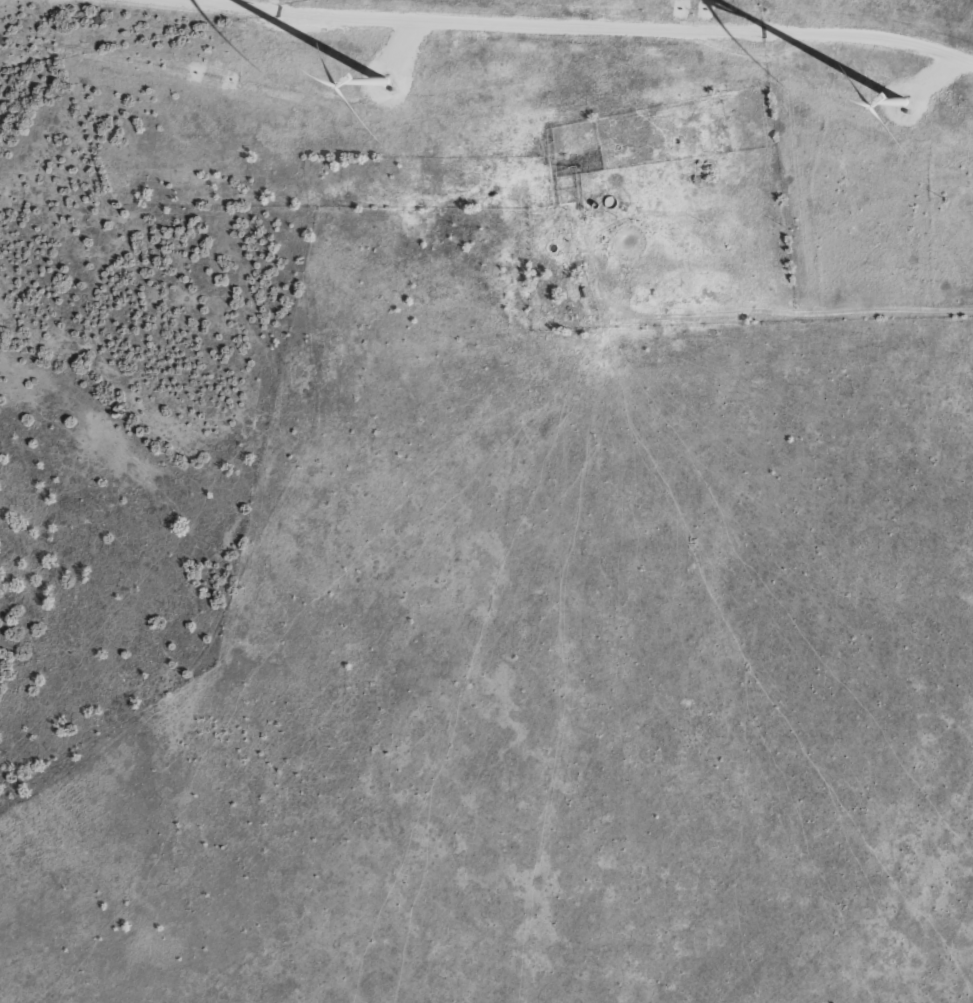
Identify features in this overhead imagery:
wind turbine: (393, 64)
wind turbine: (905, 84)
road: (830, 233)
road: (943, 235)

